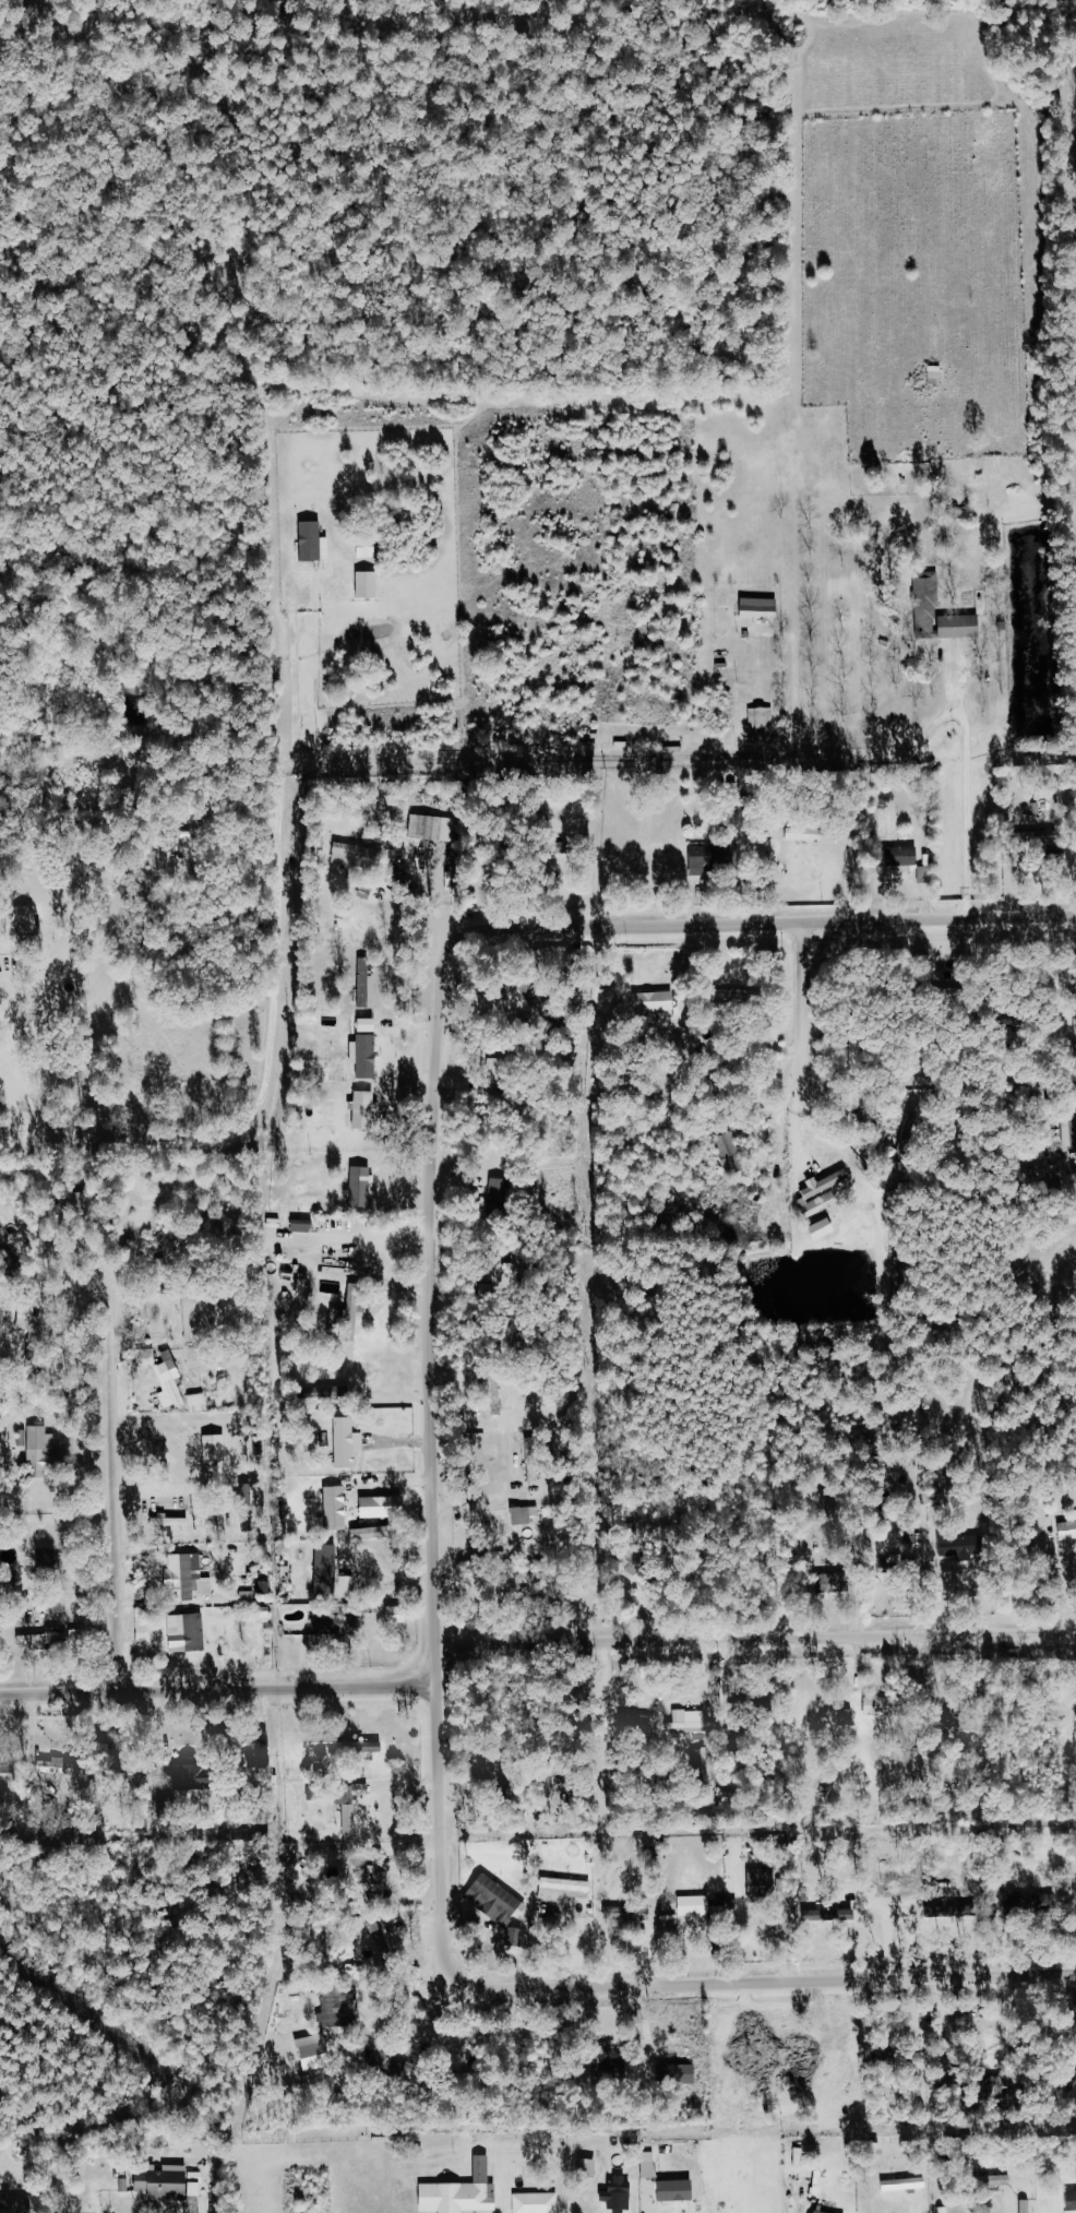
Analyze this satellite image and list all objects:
building: (316, 542)
building: (370, 549)
building: (371, 584)
building: (929, 602)
building: (764, 607)
building: (964, 627)
road: (295, 669)
building: (764, 726)
road: (327, 755)
road: (971, 788)
building: (434, 828)
building: (815, 834)
building: (1043, 837)
building: (358, 856)
building: (906, 856)
building: (705, 862)
building: (31, 927)
building: (368, 966)
building: (367, 995)
building: (523, 998)
building: (657, 1003)
road: (806, 1003)
building: (371, 1025)
road: (20, 1052)
building: (368, 1056)
building: (367, 1110)
road: (792, 1130)
building: (908, 1133)
building: (1074, 1137)
road: (33, 1146)
building: (732, 1154)
building: (363, 1187)
building: (500, 1194)
building: (306, 1226)
building: (826, 1229)
building: (500, 1280)
building: (356, 1304)
building: (202, 1316)
building: (33, 1326)
building: (172, 1382)
building: (201, 1403)
building: (217, 1440)
building: (348, 1442)
building: (41, 1450)
building: (218, 1456)
building: (536, 1460)
road: (432, 1461)
road: (113, 1487)
building: (338, 1509)
building: (384, 1509)
building: (528, 1515)
building: (174, 1522)
building: (505, 1531)
building: (1068, 1531)
building: (376, 1533)
building: (954, 1542)
building: (331, 1554)
building: (52, 1560)
building: (330, 1578)
building: (534, 1580)
road: (386, 1583)
building: (399, 1615)
building: (340, 1625)
building: (189, 1633)
building: (51, 1639)
road: (757, 1640)
road: (219, 1691)
building: (887, 1706)
building: (694, 1723)
building: (264, 1750)
building: (3, 1764)
building: (707, 1764)
building: (200, 1777)
building: (511, 1780)
building: (352, 1820)
building: (381, 1872)
building: (764, 1884)
building: (566, 1890)
building: (497, 1901)
building: (1042, 1902)
building: (704, 1909)
building: (631, 1915)
building: (584, 1926)
building: (385, 1949)
building: (335, 1999)
building: (680, 2074)
building: (591, 2167)
building: (1002, 2180)
building: (171, 2184)
building: (908, 2185)
building: (464, 2192)
building: (681, 2192)
building: (621, 2196)
building: (1072, 2201)
building: (538, 2203)
building: (1029, 2206)
building: (650, 2210)
building: (947, 2210)
building: (820, 2212)

